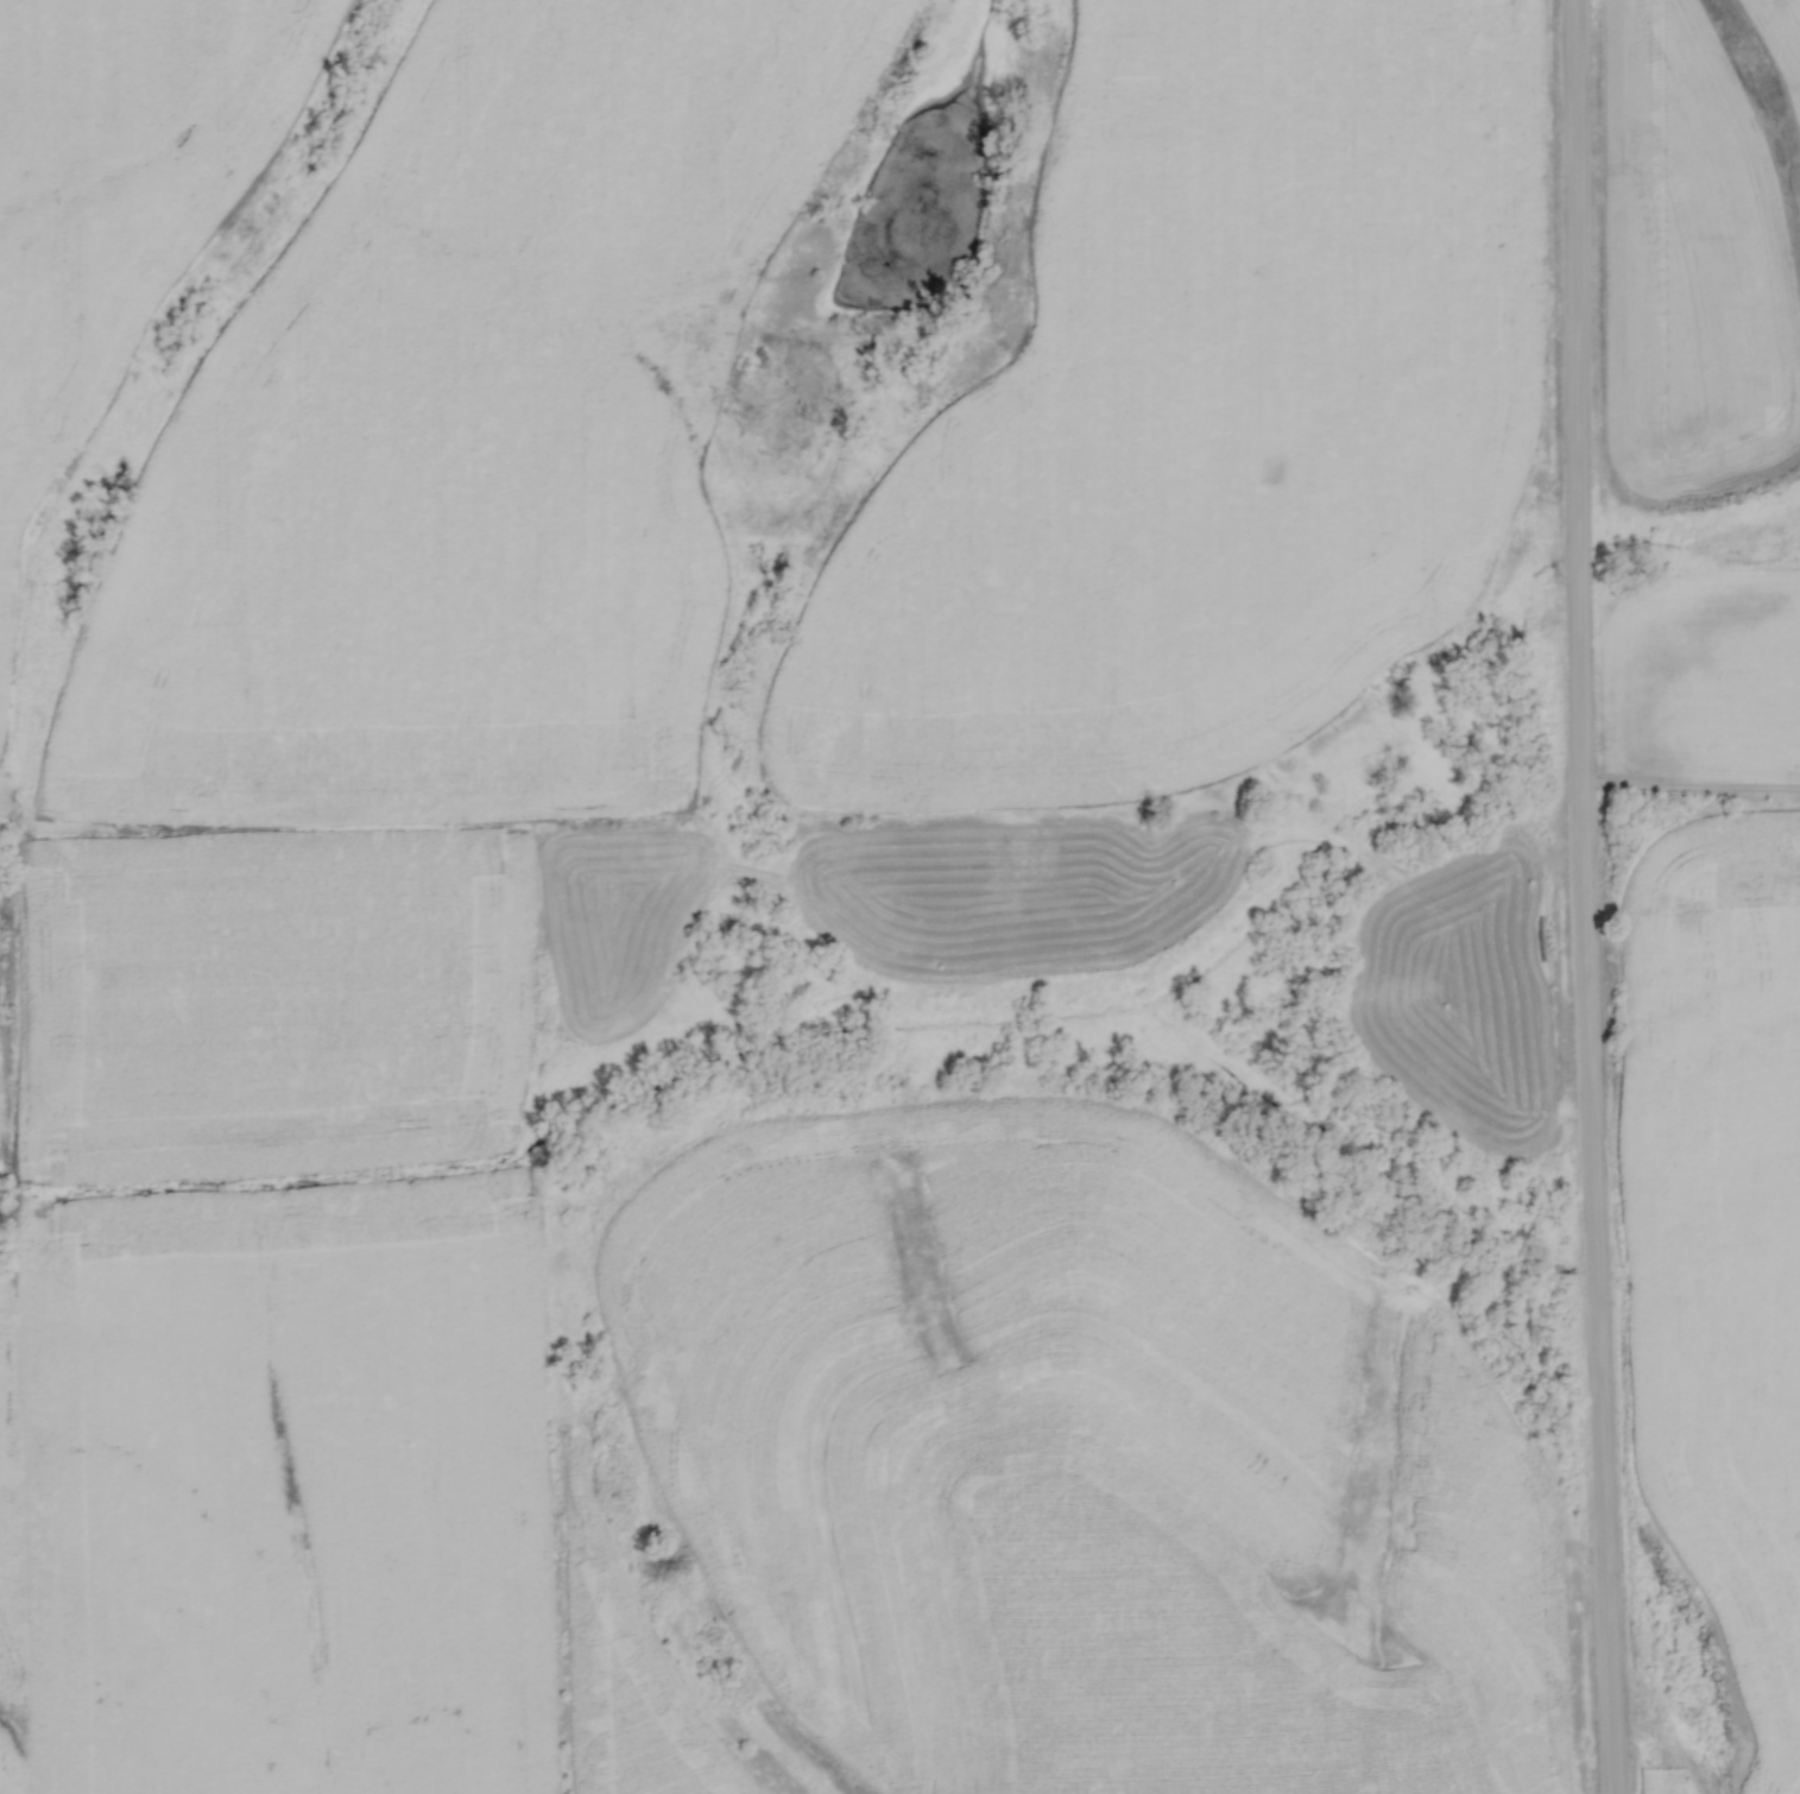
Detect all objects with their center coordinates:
crop: (1699, 253)
road: (1584, 897)
crop: (1722, 1294)

